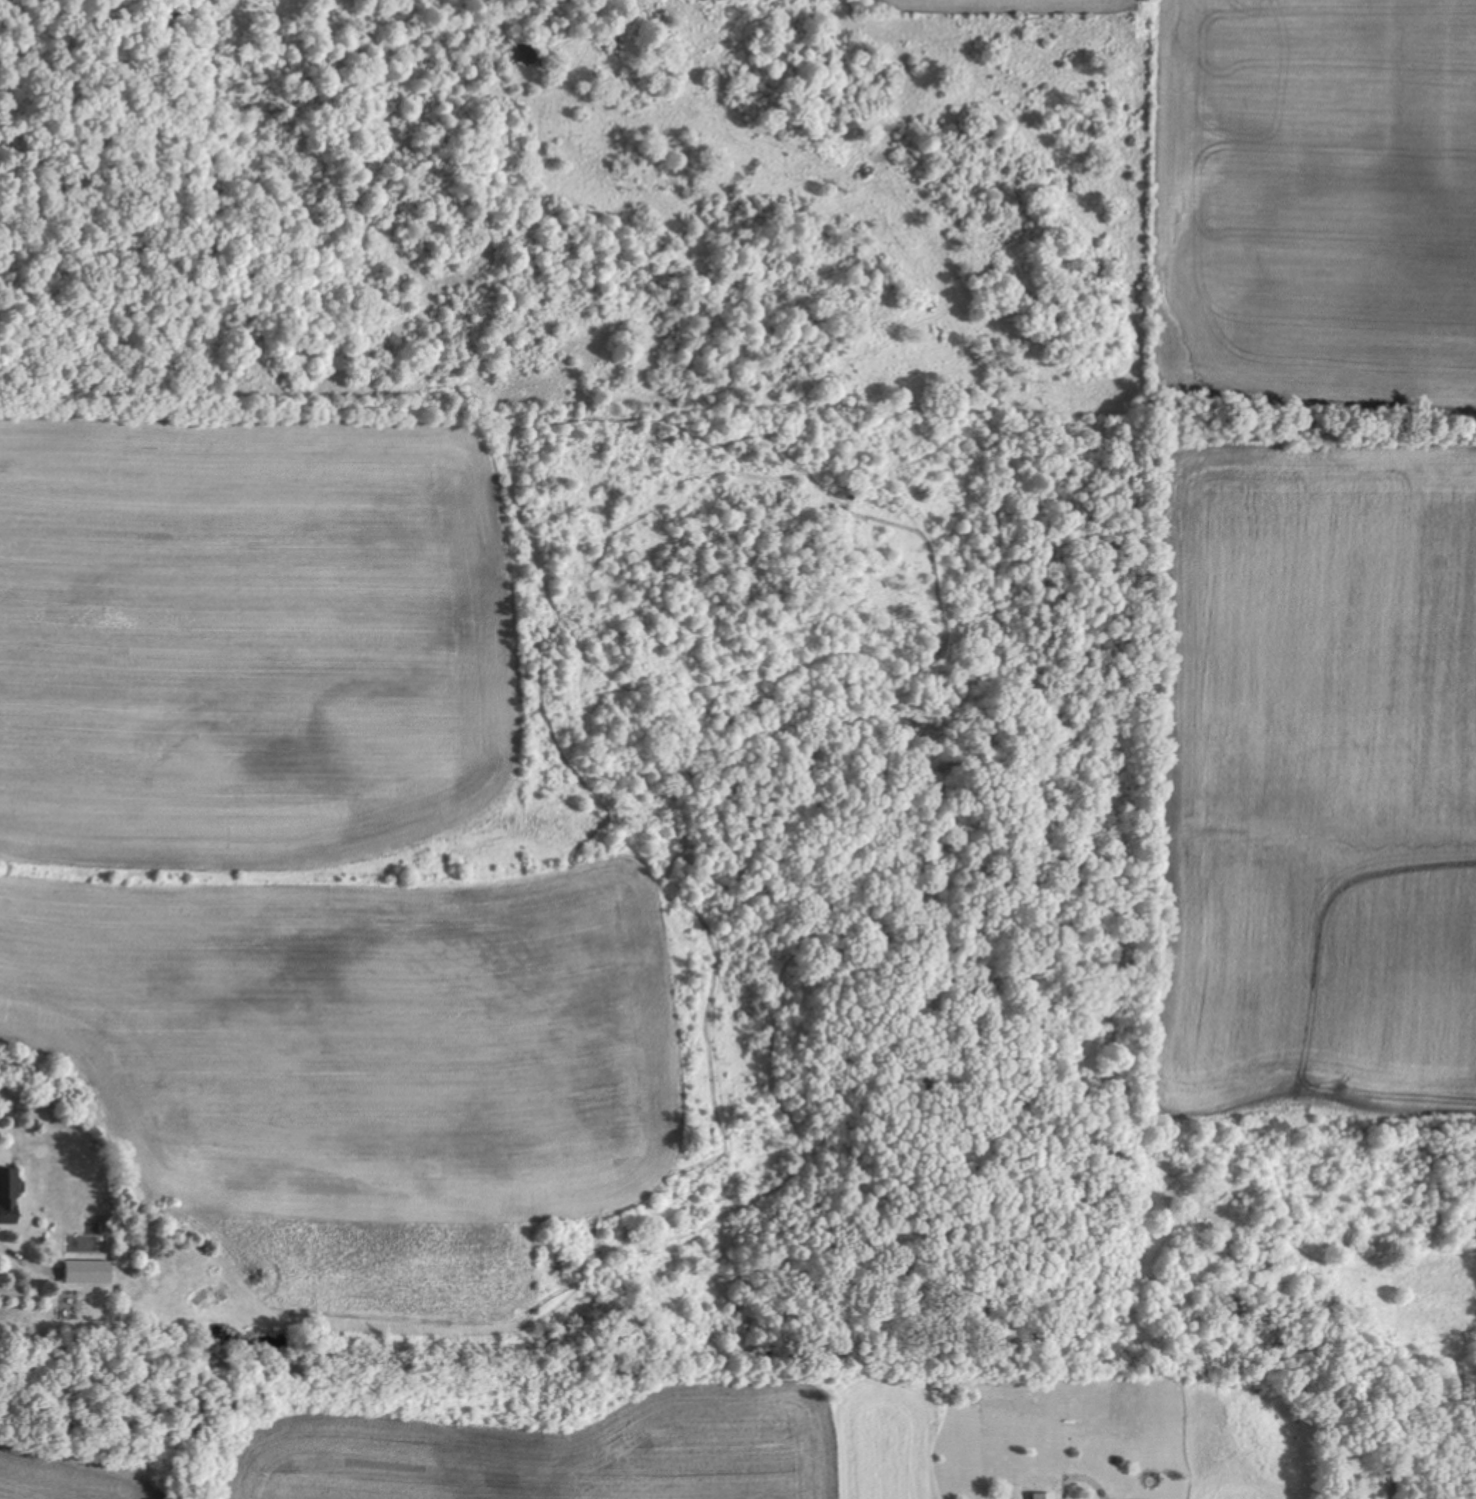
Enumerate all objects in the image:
building: (9, 1197)
building: (88, 1273)
building: (1045, 1497)

